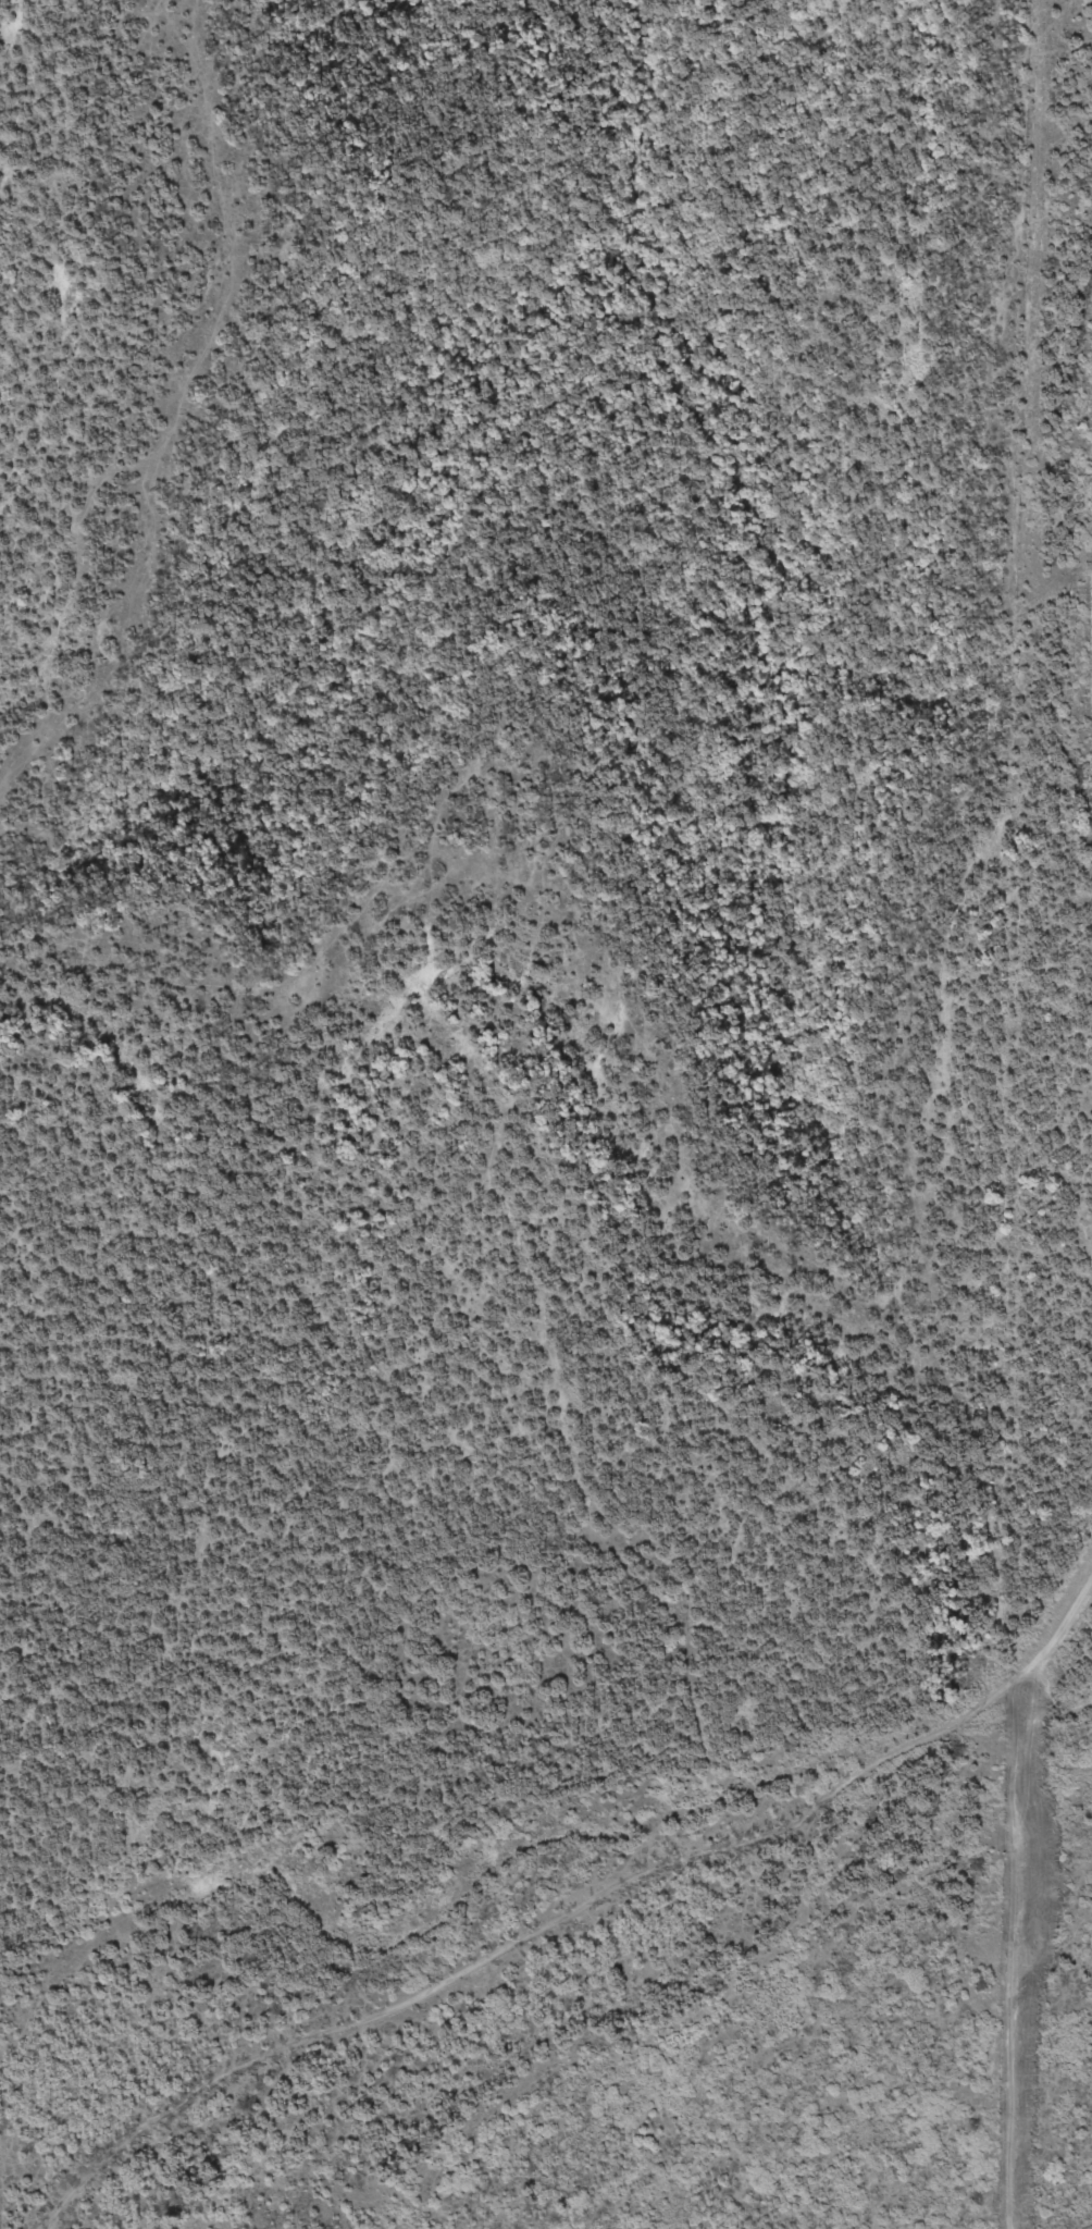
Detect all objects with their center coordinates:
road: (563, 1911)

